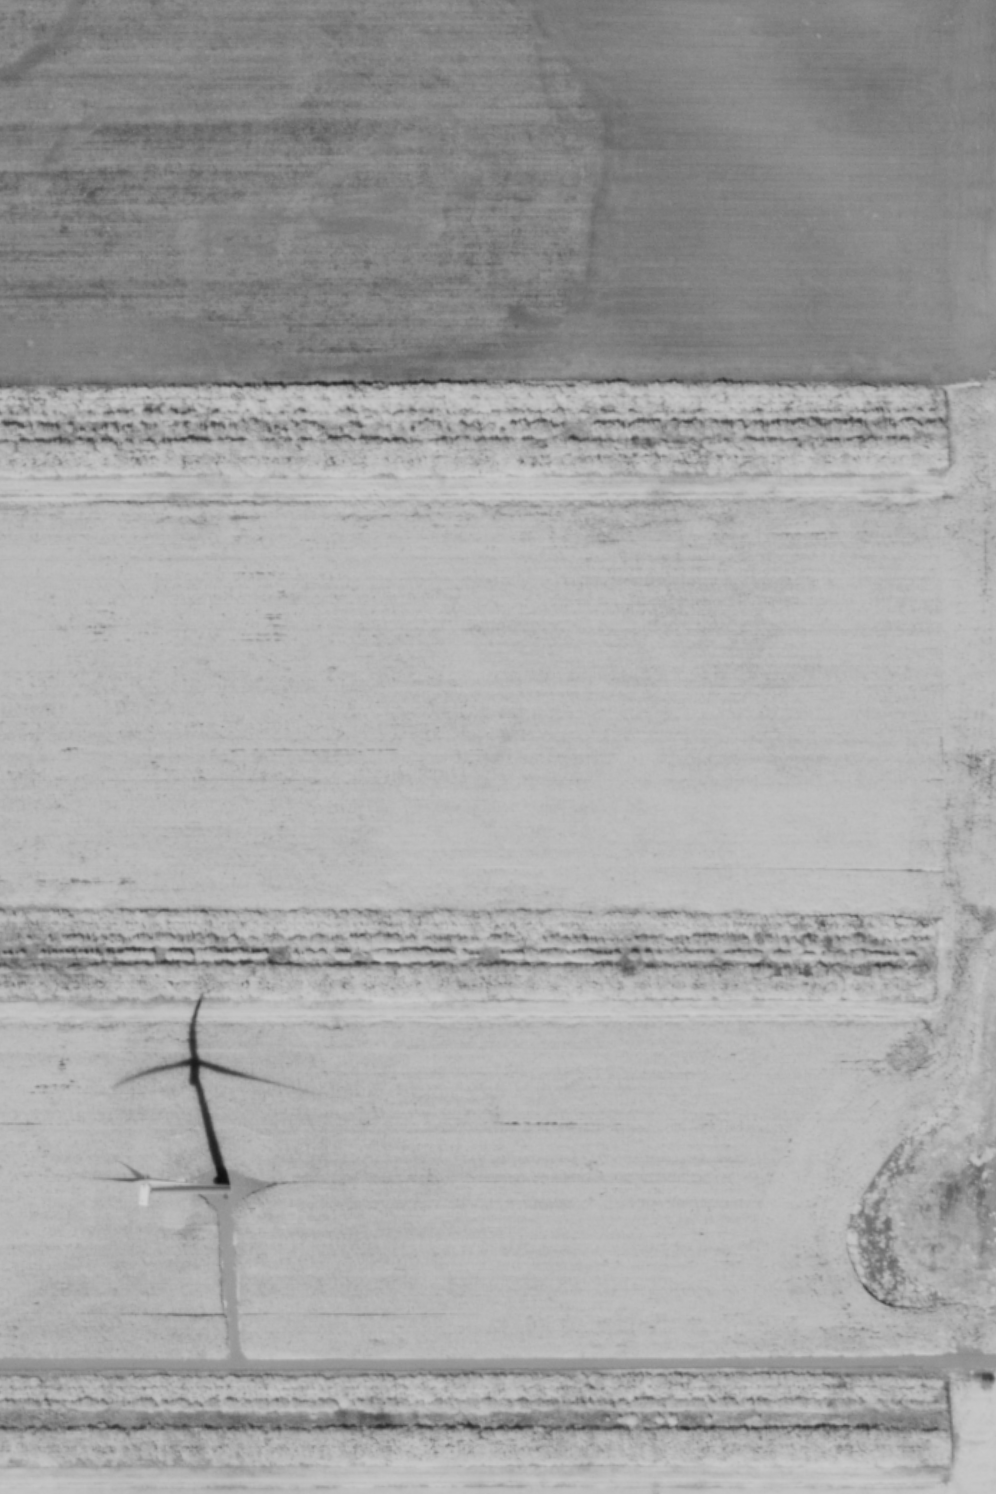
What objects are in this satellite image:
wind turbine: (219, 1194)
road: (498, 1360)

